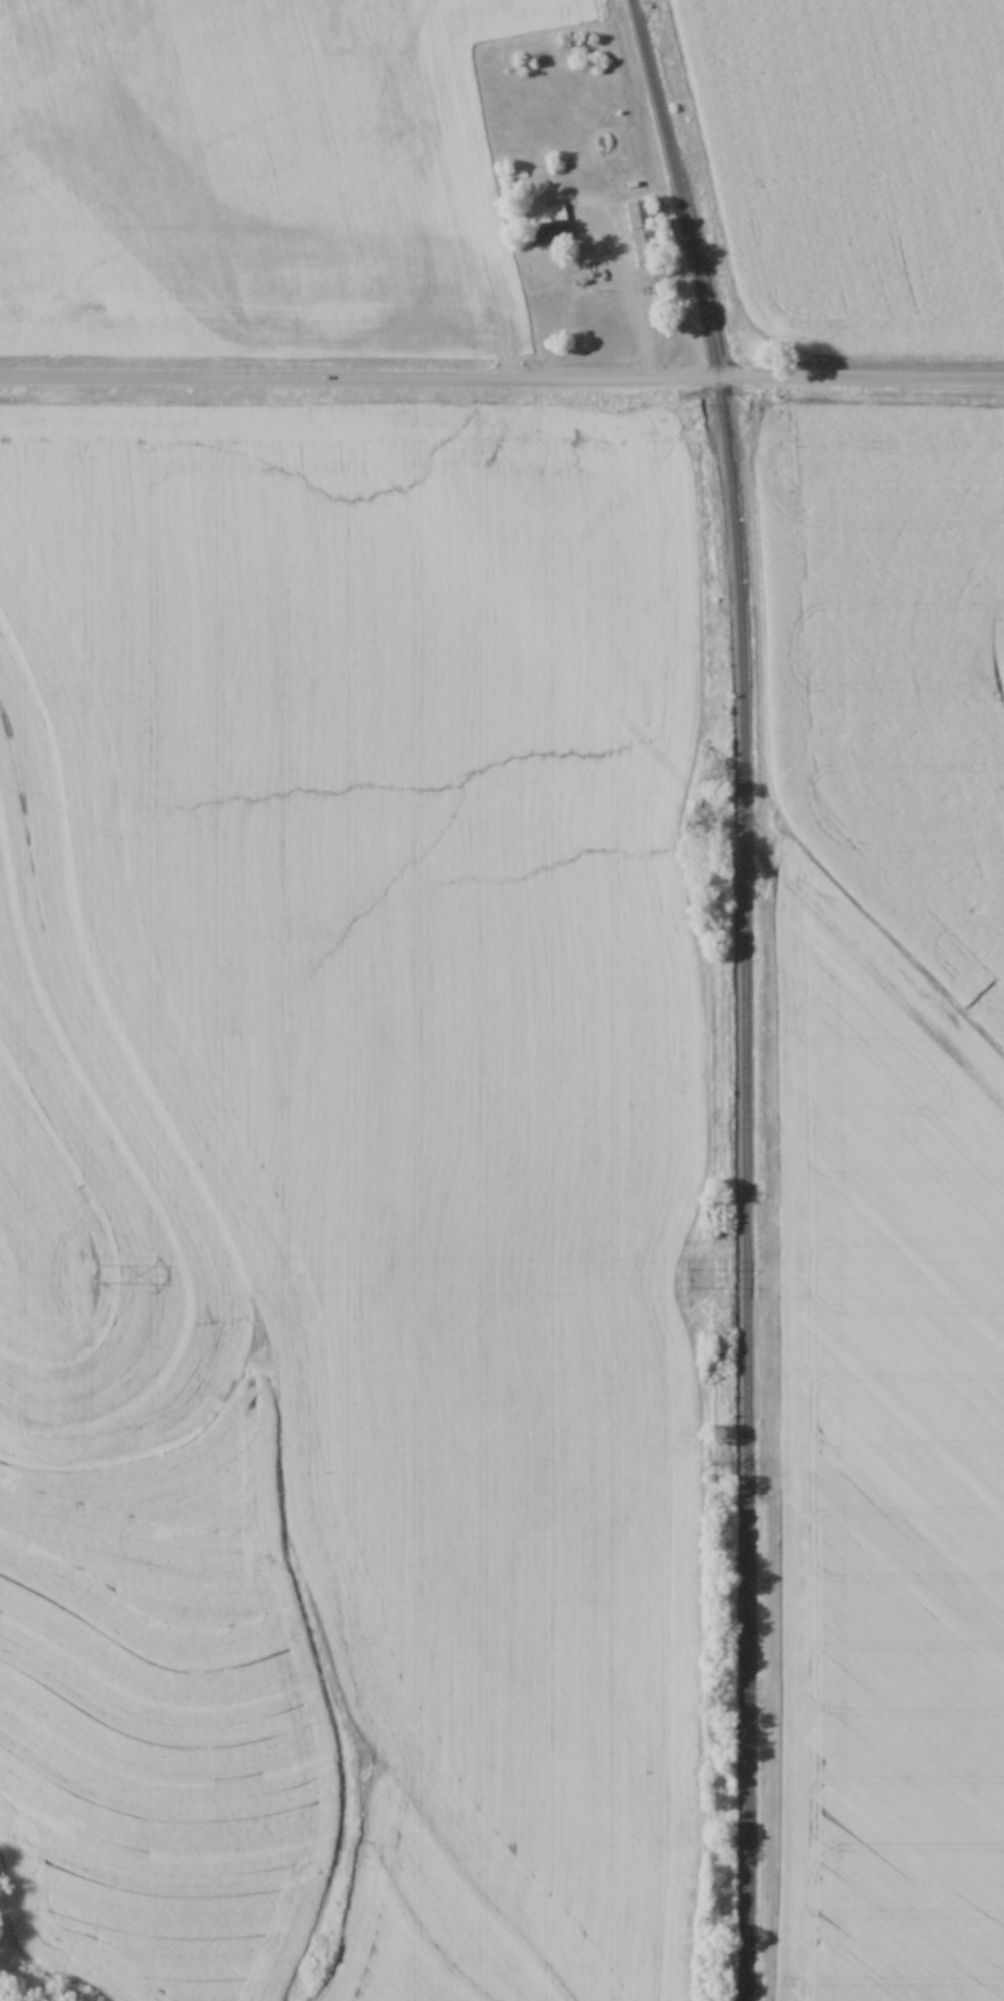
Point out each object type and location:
building: (551, 222)
building: (641, 228)
road: (633, 285)
road: (502, 374)
railway: (746, 994)
power tower: (96, 1268)
power tower: (686, 1273)

